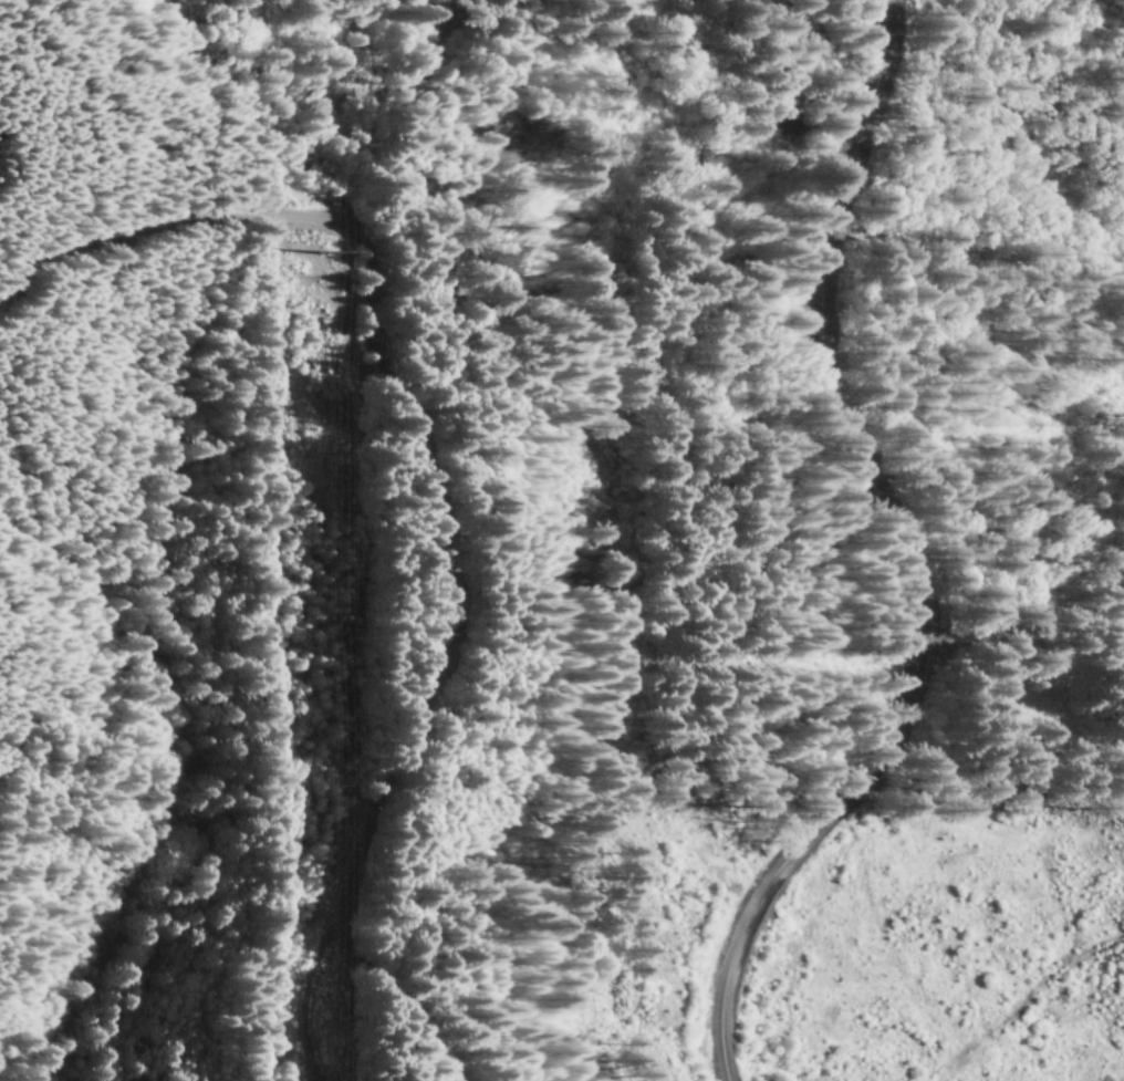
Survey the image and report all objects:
power tower: (303, 260)
road: (903, 564)

